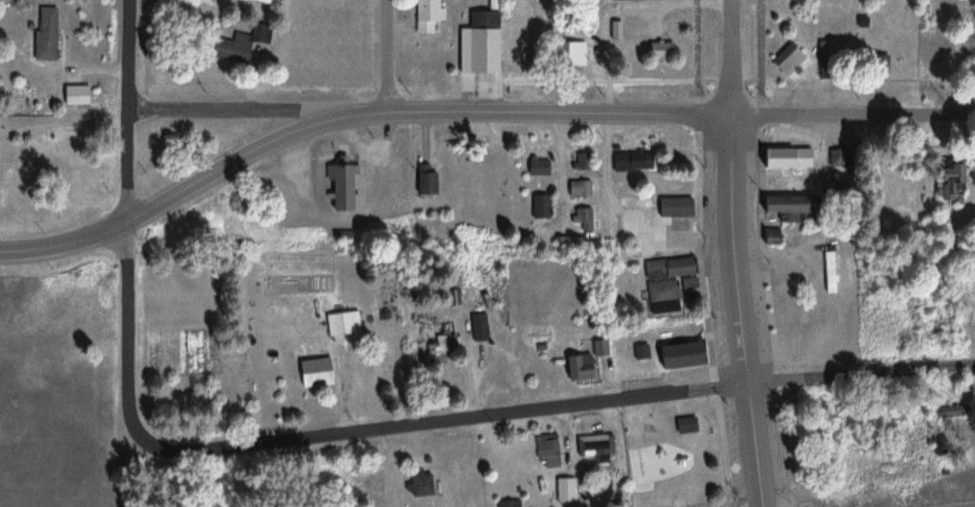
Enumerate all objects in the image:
building: (423, 17)
building: (614, 30)
building: (50, 32)
building: (477, 42)
building: (244, 43)
building: (656, 51)
road: (387, 54)
building: (570, 54)
road: (729, 58)
building: (786, 60)
building: (878, 63)
building: (83, 93)
road: (236, 109)
road: (535, 112)
road: (130, 113)
road: (852, 114)
building: (1, 147)
building: (781, 159)
road: (230, 161)
building: (580, 162)
building: (626, 162)
building: (535, 167)
building: (421, 181)
building: (348, 182)
building: (946, 185)
building: (577, 189)
building: (780, 204)
building: (537, 207)
building: (672, 207)
building: (582, 219)
road: (64, 244)
road: (731, 250)
building: (663, 269)
building: (826, 272)
building: (685, 284)
building: (657, 297)
building: (346, 321)
building: (482, 325)
building: (640, 352)
building: (673, 356)
building: (582, 363)
building: (320, 370)
road: (859, 373)
building: (947, 412)
building: (682, 426)
road: (332, 434)
road: (752, 445)
building: (593, 447)
building: (545, 452)
park: (671, 453)
building: (423, 483)
building: (564, 491)
building: (512, 503)

